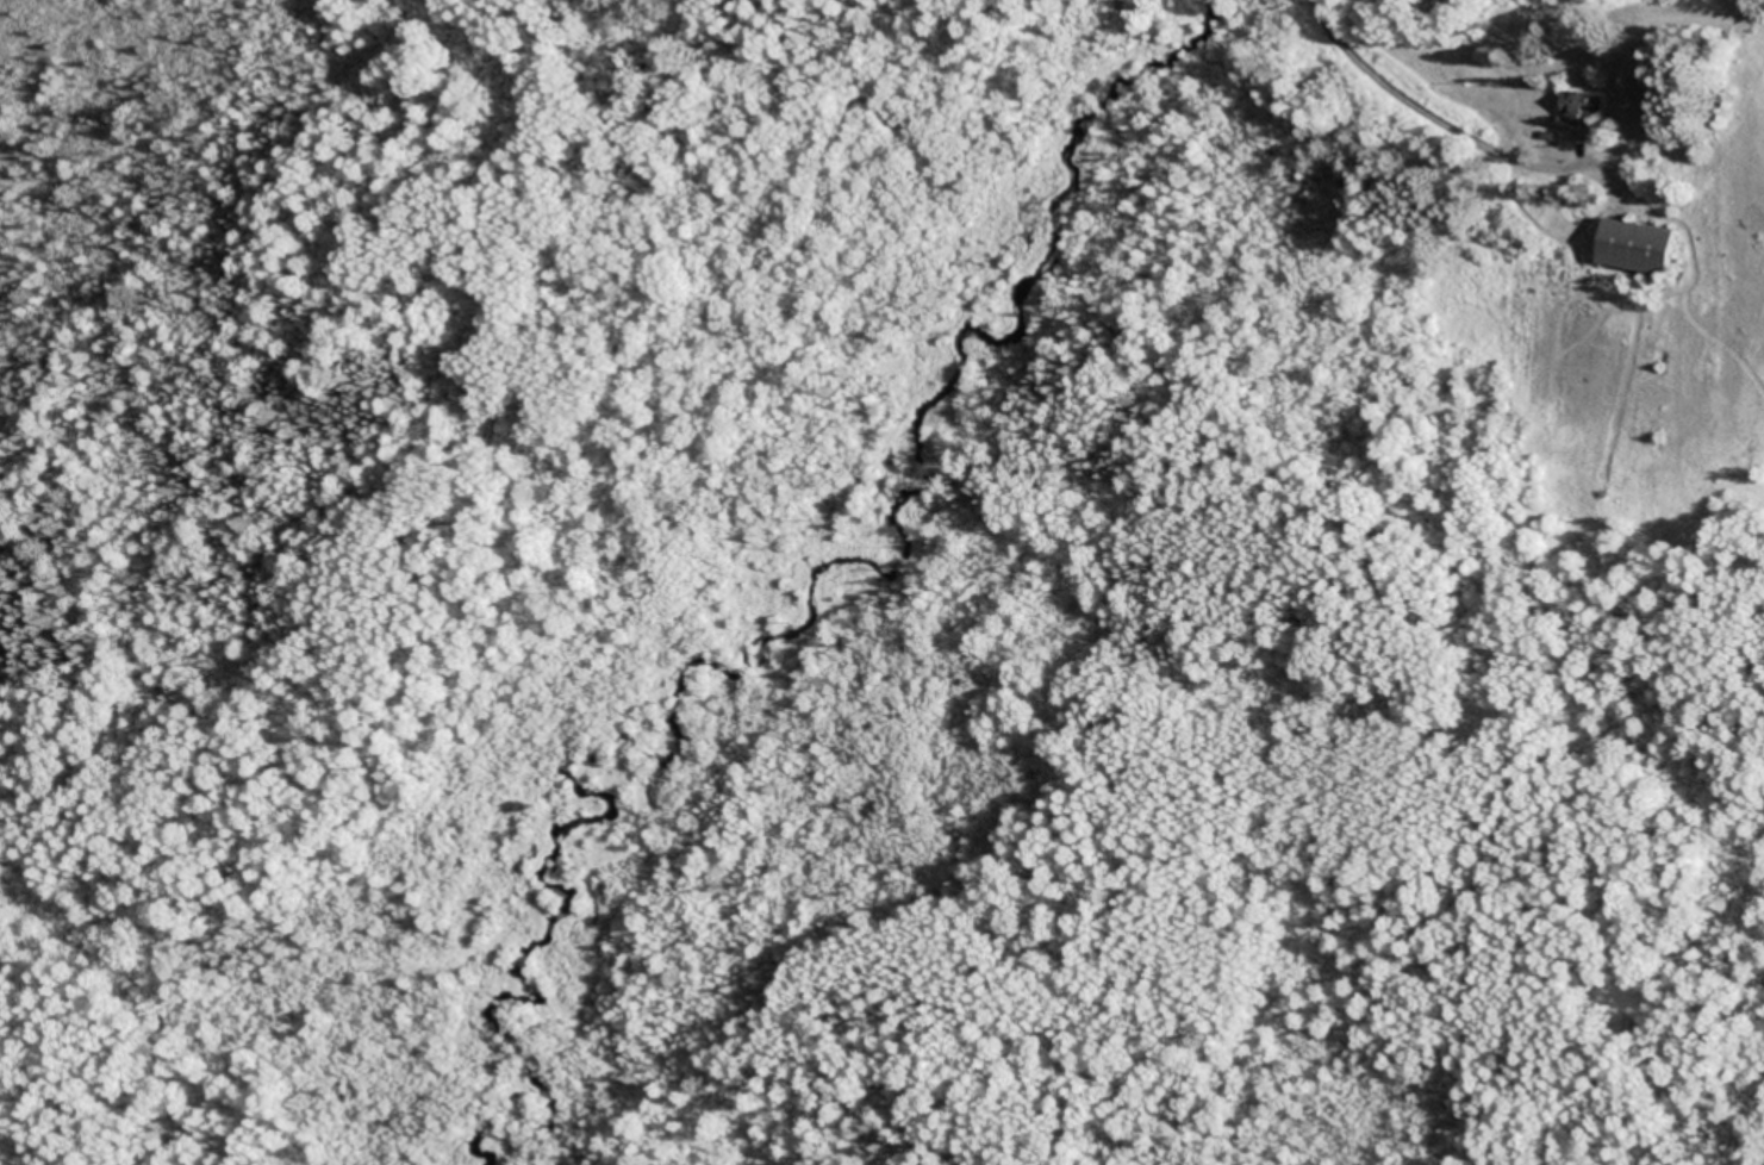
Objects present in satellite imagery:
building: (1581, 107)
building: (1635, 249)

